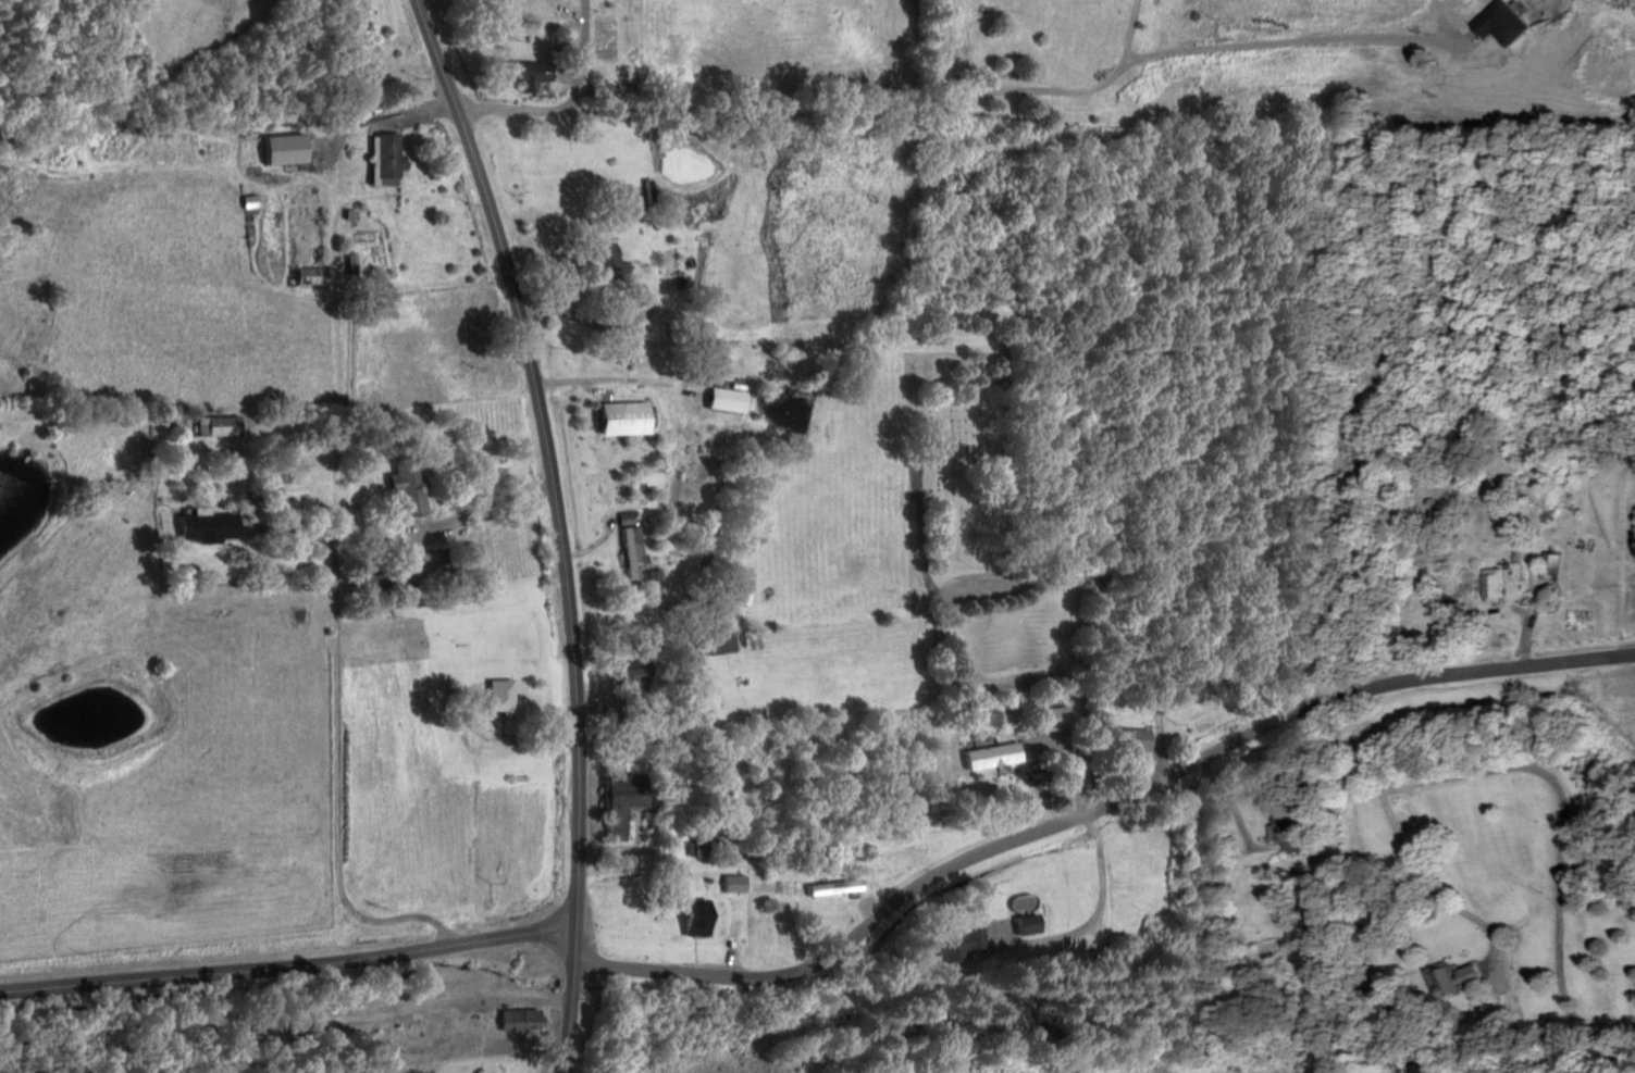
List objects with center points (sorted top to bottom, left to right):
building: (536, 76)
road: (830, 108)
building: (392, 159)
building: (616, 265)
building: (314, 279)
building: (732, 399)
building: (628, 415)
building: (223, 425)
park: (963, 460)
building: (413, 486)
building: (214, 526)
road: (562, 527)
building: (637, 553)
building: (1547, 565)
building: (375, 583)
building: (1488, 584)
building: (723, 644)
building: (639, 670)
building: (506, 695)
building: (618, 706)
building: (1058, 718)
building: (1138, 738)
building: (998, 756)
road: (340, 781)
road: (1412, 784)
building: (625, 801)
road: (1097, 808)
building: (1291, 826)
building: (773, 887)
building: (828, 887)
road: (1555, 895)
road: (1430, 897)
building: (702, 916)
building: (1029, 925)
building: (955, 943)
road: (289, 960)
building: (1441, 980)
building: (520, 1020)

